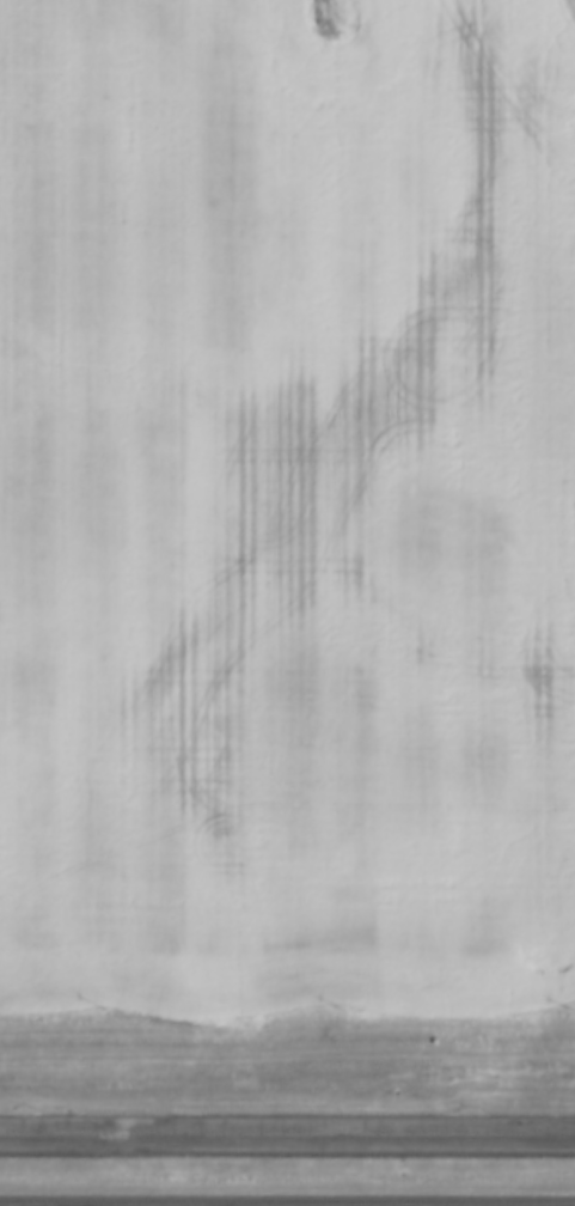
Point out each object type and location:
road: (287, 1140)

